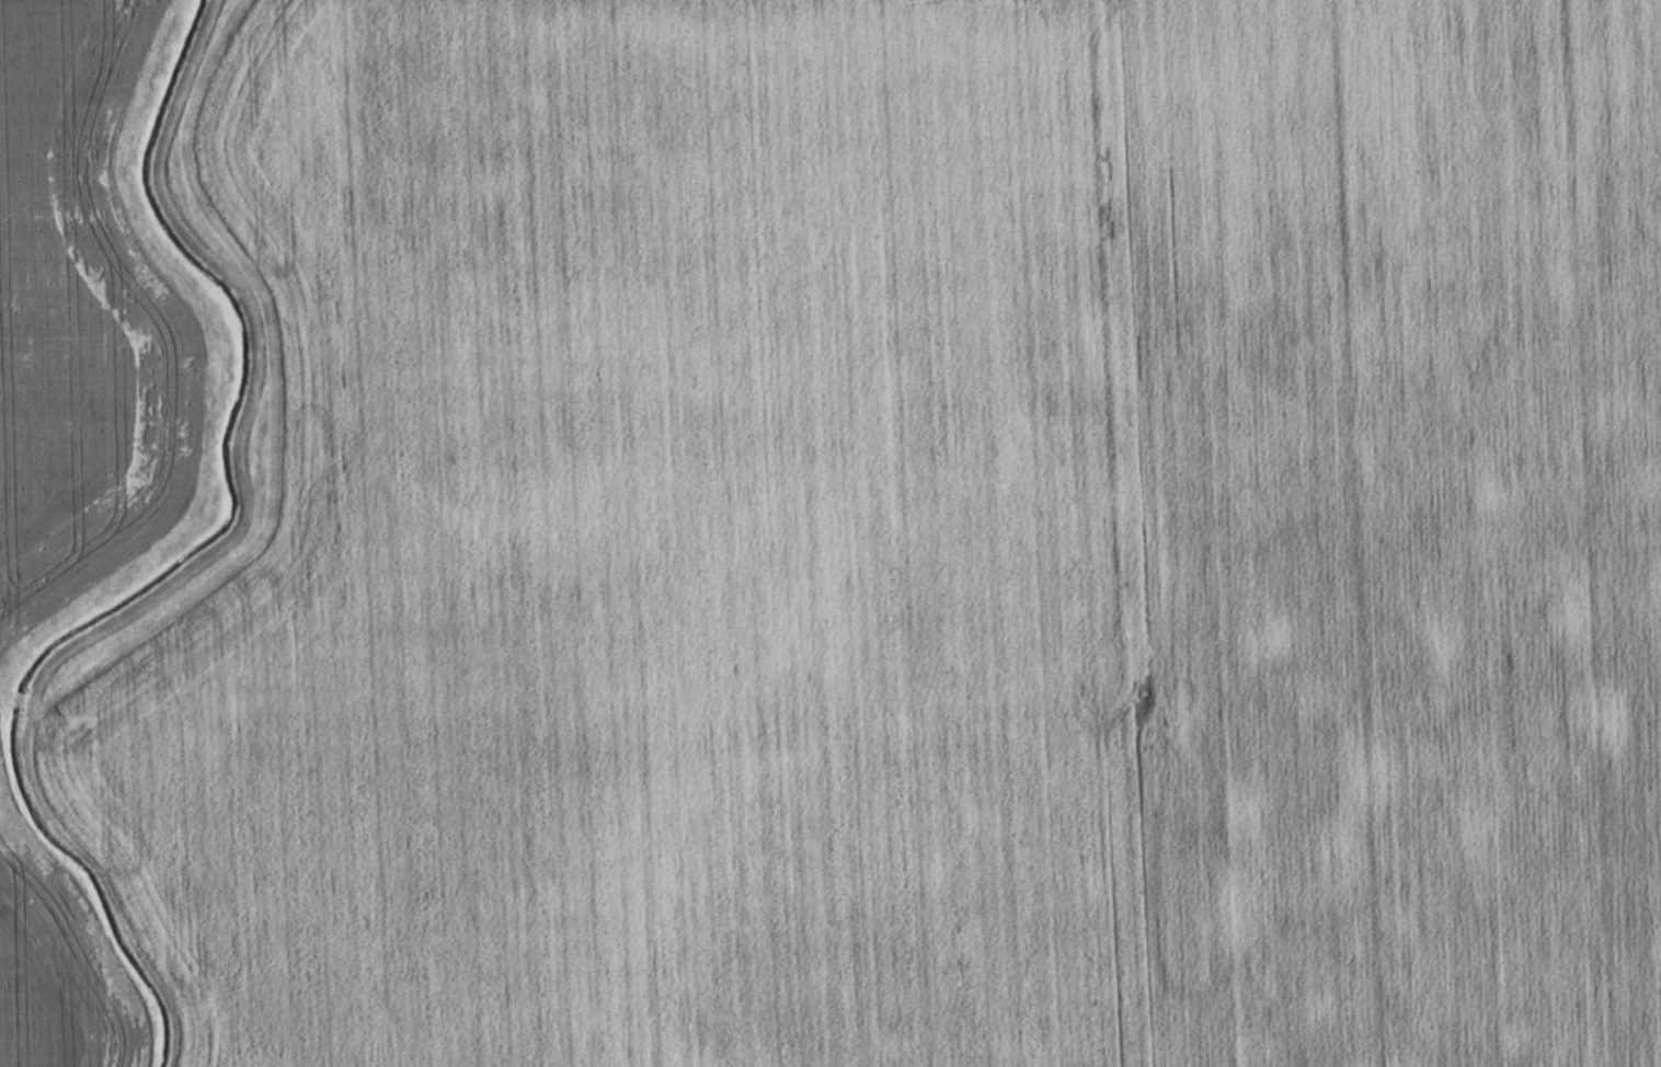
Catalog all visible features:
crop: (78, 318)
crop: (926, 541)
crop: (46, 977)

